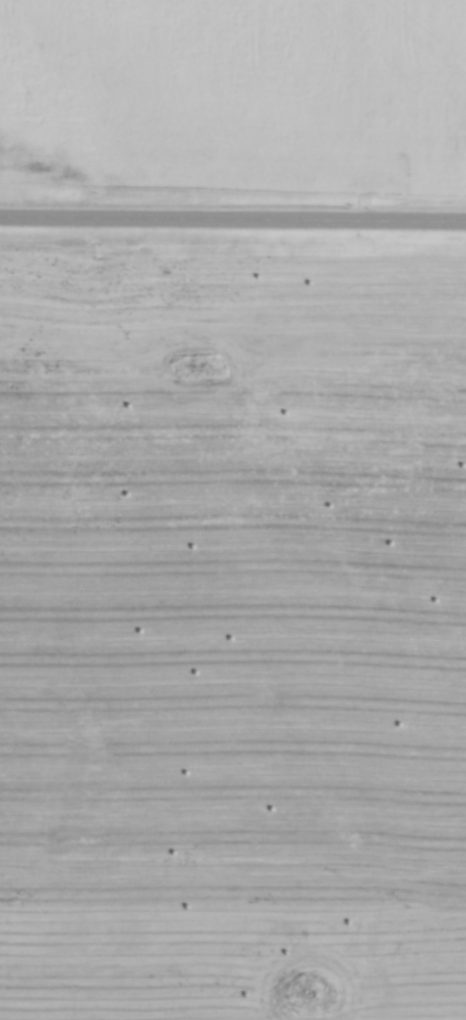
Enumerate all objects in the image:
road: (233, 214)

